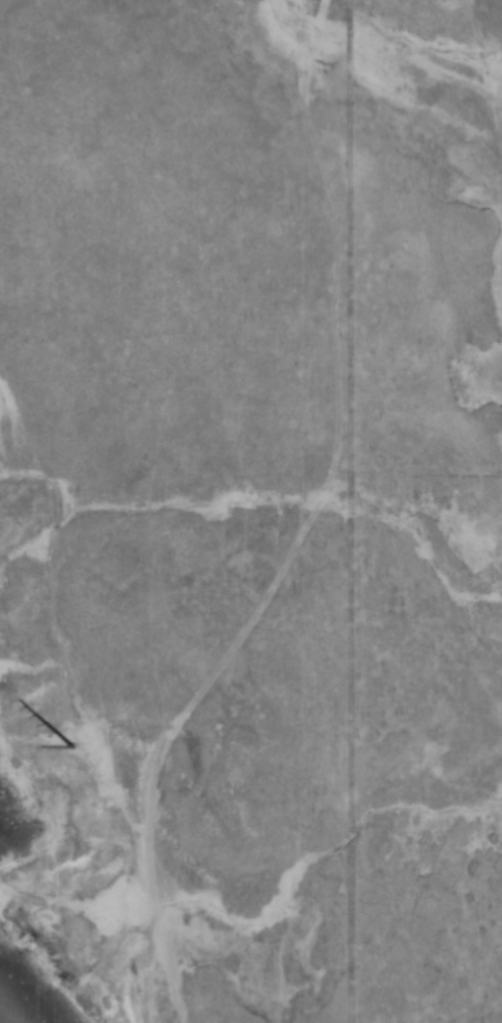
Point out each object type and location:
road: (305, 530)
power tower: (69, 751)

